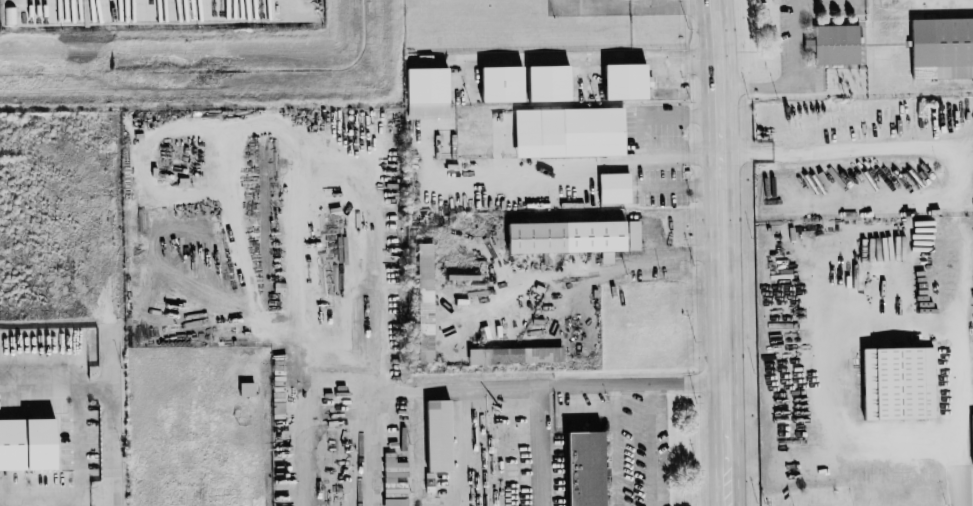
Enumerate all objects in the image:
road: (652, 2)
road: (671, 4)
road: (603, 6)
building: (831, 43)
building: (940, 47)
road: (585, 54)
road: (795, 80)
building: (629, 81)
building: (555, 82)
building: (508, 83)
building: (434, 85)
road: (213, 125)
building: (586, 131)
road: (642, 135)
road: (840, 149)
road: (552, 167)
road: (683, 186)
building: (619, 187)
building: (579, 237)
road: (723, 252)
road: (660, 255)
building: (428, 300)
road: (835, 318)
road: (960, 331)
building: (519, 355)
building: (894, 382)
road: (629, 383)
road: (104, 385)
road: (586, 408)
building: (444, 435)
building: (971, 439)
building: (32, 444)
road: (616, 444)
road: (650, 444)
road: (536, 446)
building: (397, 466)
building: (592, 468)
road: (53, 496)
building: (398, 496)
road: (107, 500)

